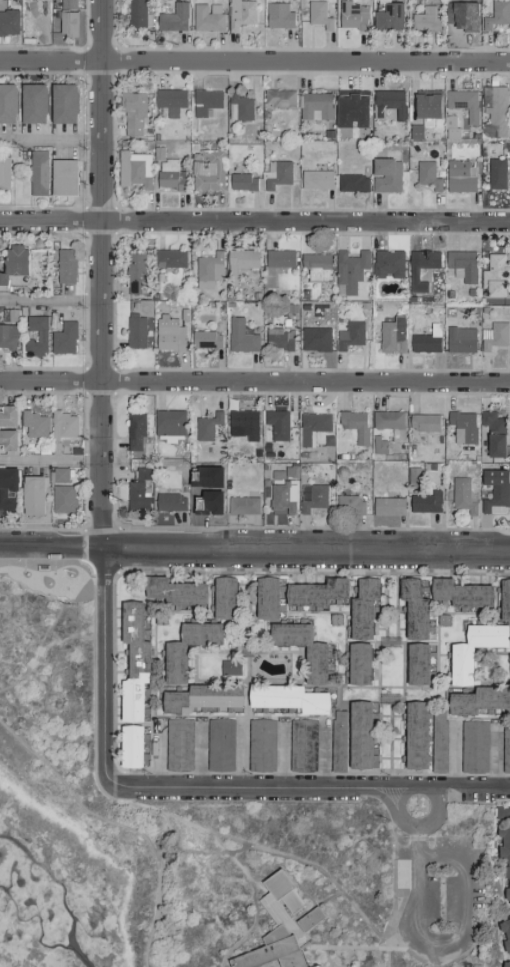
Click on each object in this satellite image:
building: (239, 13)
building: (136, 14)
building: (317, 15)
building: (495, 15)
building: (277, 16)
building: (350, 16)
building: (66, 18)
building: (206, 18)
building: (387, 18)
building: (171, 19)
building: (424, 20)
building: (458, 21)
building: (8, 23)
building: (31, 25)
road: (255, 61)
building: (277, 99)
building: (169, 101)
building: (204, 103)
building: (6, 104)
building: (62, 104)
building: (387, 104)
building: (462, 104)
building: (31, 105)
building: (425, 105)
building: (314, 106)
building: (238, 108)
building: (350, 110)
building: (492, 111)
building: (131, 113)
building: (414, 132)
road: (53, 139)
building: (130, 170)
building: (3, 172)
building: (207, 172)
building: (36, 173)
building: (494, 174)
building: (168, 175)
building: (275, 175)
building: (385, 176)
building: (426, 176)
building: (458, 176)
building: (62, 178)
building: (315, 180)
building: (242, 182)
building: (351, 183)
road: (254, 222)
building: (168, 258)
building: (239, 260)
building: (12, 263)
building: (274, 264)
building: (386, 264)
building: (313, 265)
building: (460, 265)
building: (63, 266)
building: (419, 267)
building: (207, 270)
building: (348, 271)
building: (134, 273)
road: (106, 275)
building: (492, 275)
road: (53, 299)
building: (134, 331)
building: (167, 334)
building: (348, 335)
building: (390, 335)
building: (7, 336)
building: (35, 336)
building: (492, 336)
building: (239, 337)
building: (62, 338)
building: (276, 339)
building: (313, 339)
building: (459, 339)
building: (204, 340)
building: (425, 340)
road: (255, 382)
building: (7, 416)
building: (386, 420)
building: (422, 422)
building: (33, 424)
building: (168, 424)
building: (241, 424)
building: (275, 424)
building: (62, 425)
building: (353, 425)
building: (205, 426)
building: (310, 427)
building: (461, 427)
building: (134, 434)
building: (492, 434)
building: (7, 440)
building: (377, 446)
road: (52, 460)
building: (58, 475)
building: (6, 486)
building: (137, 491)
building: (493, 491)
building: (30, 495)
building: (460, 495)
building: (311, 497)
building: (281, 498)
building: (61, 499)
building: (169, 502)
building: (423, 502)
building: (348, 505)
building: (241, 506)
building: (386, 506)
road: (52, 550)
road: (307, 550)
road: (52, 574)
road: (44, 588)
building: (173, 591)
building: (461, 593)
building: (314, 594)
building: (223, 597)
building: (265, 598)
building: (504, 599)
building: (362, 608)
building: (412, 609)
road: (44, 638)
building: (316, 656)
building: (132, 661)
building: (173, 664)
building: (357, 664)
building: (416, 664)
building: (459, 665)
road: (105, 667)
building: (228, 667)
building: (508, 670)
building: (200, 698)
building: (285, 699)
building: (478, 700)
building: (358, 735)
building: (414, 735)
building: (336, 741)
building: (437, 742)
building: (177, 744)
building: (218, 745)
building: (259, 745)
building: (300, 745)
building: (130, 746)
building: (472, 747)
building: (505, 748)
road: (159, 752)
road: (242, 752)
road: (324, 753)
road: (455, 754)
road: (200, 755)
road: (283, 755)
road: (496, 757)
road: (240, 785)
road: (394, 787)
road: (422, 787)
road: (439, 787)
road: (478, 787)
road: (110, 802)
road: (398, 802)
road: (388, 805)
parking lot: (399, 812)
building: (501, 813)
road: (435, 819)
road: (122, 825)
road: (170, 830)
road: (185, 852)
road: (265, 853)
building: (504, 858)
building: (281, 891)
road: (261, 893)
parking lot: (441, 895)
parking lot: (466, 900)
road: (313, 908)
building: (310, 920)
road: (408, 926)
road: (253, 930)
building: (505, 934)
river: (80, 944)
road: (393, 946)
road: (449, 947)
road: (346, 949)
building: (274, 950)
road: (328, 958)
building: (505, 963)
road: (264, 966)
building: (314, 966)
building: (318, 966)

